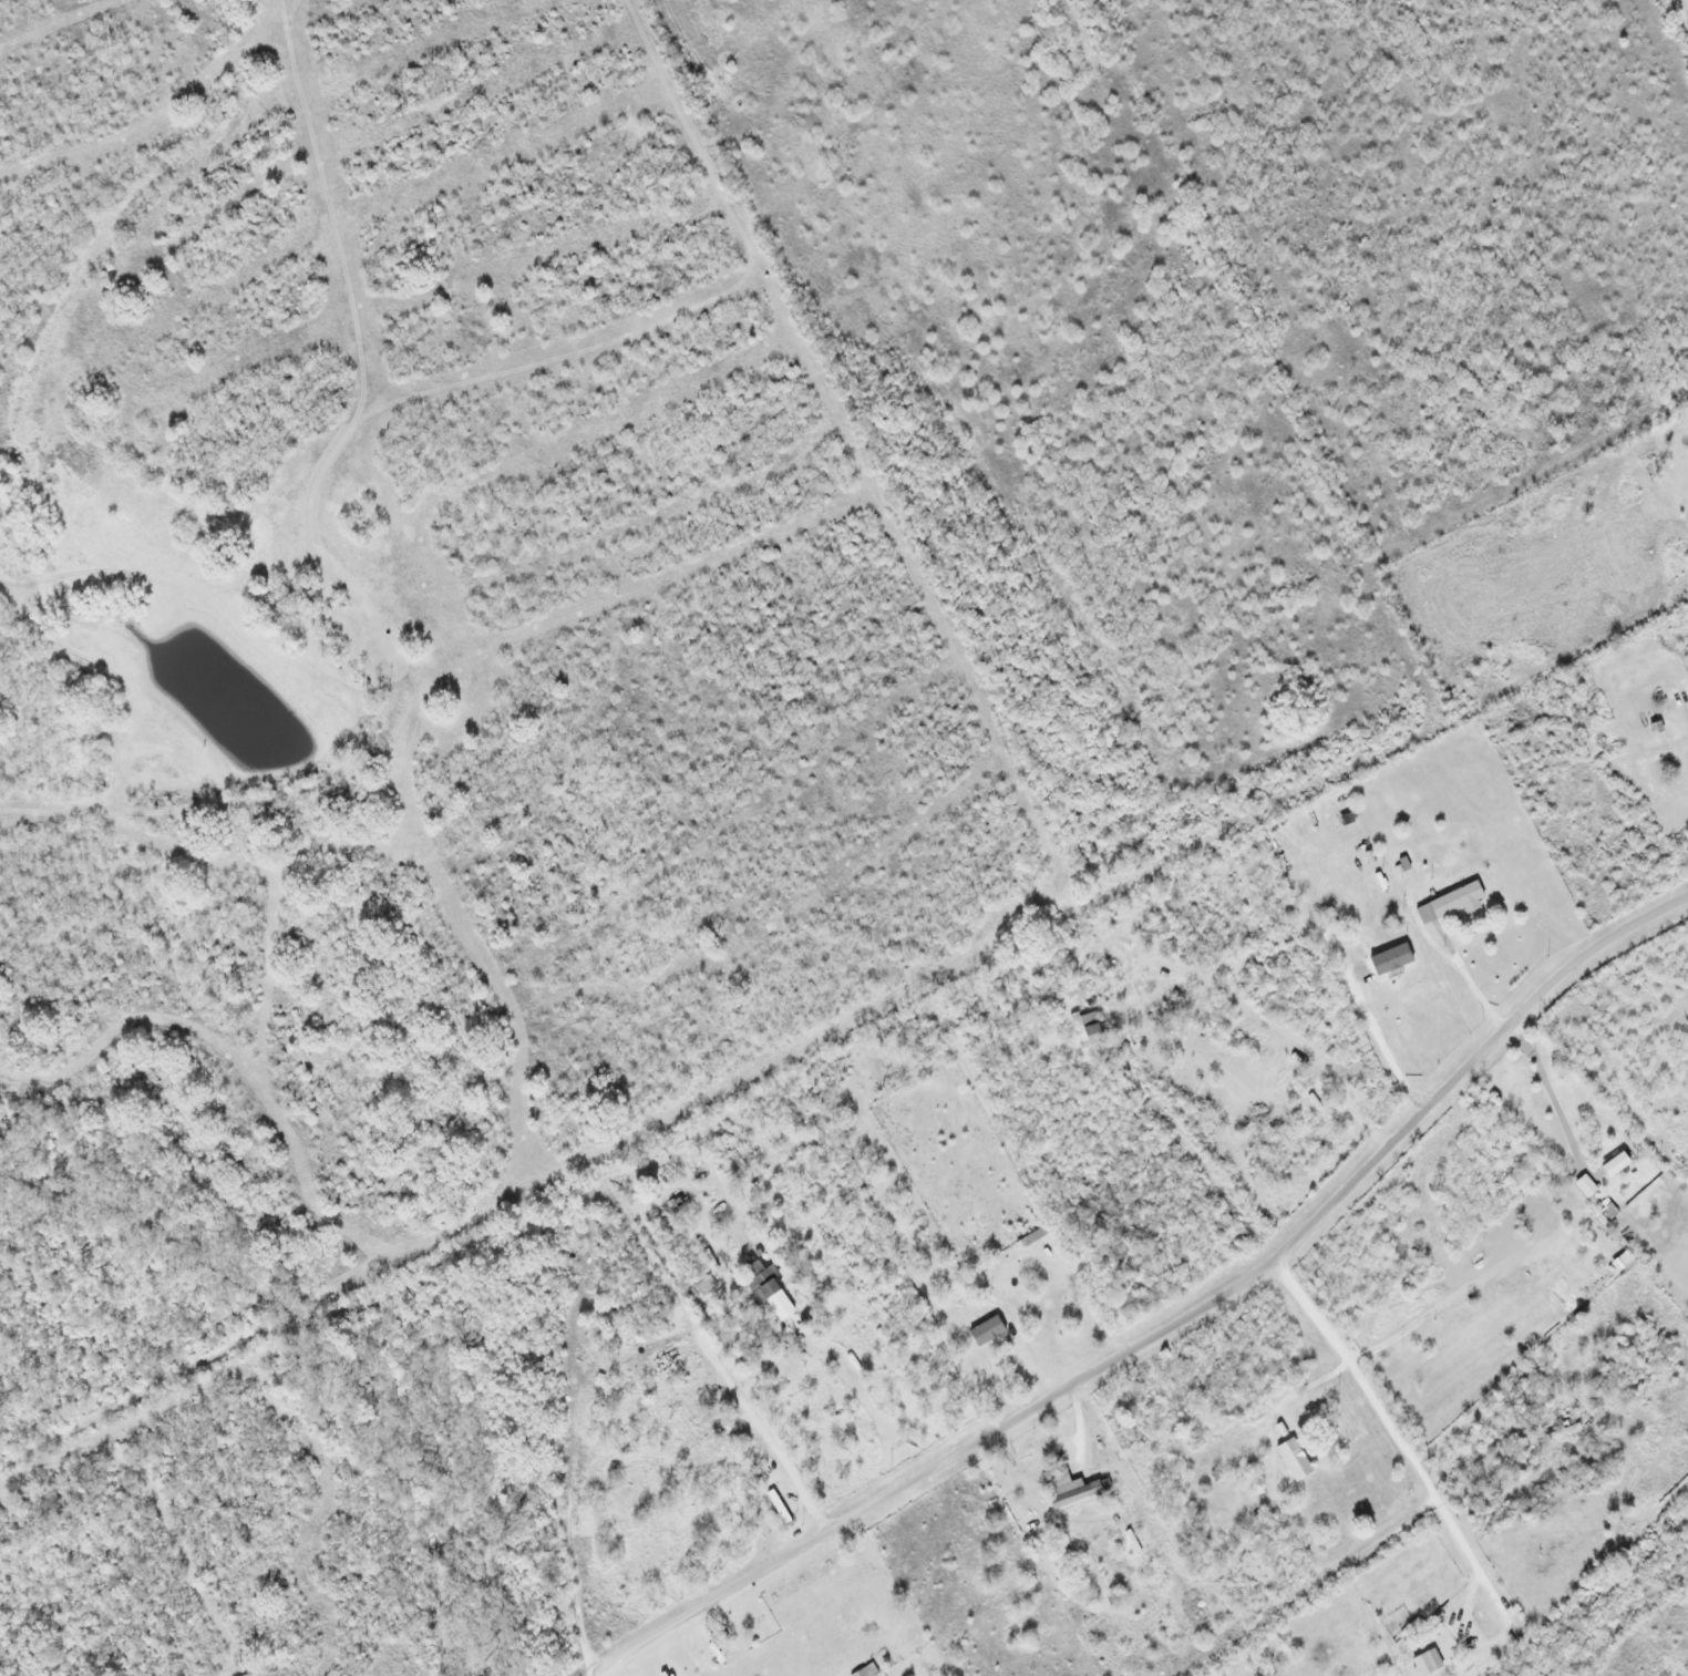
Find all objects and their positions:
road: (1680, 14)
building: (1452, 902)
building: (1088, 1029)
building: (1586, 1185)
building: (1035, 1236)
building: (763, 1279)
building: (1043, 1304)
road: (1172, 1324)
road: (1357, 1376)
building: (702, 1430)
road: (763, 1433)
building: (1295, 1459)
road: (565, 1470)
building: (1073, 1488)
road: (184, 1555)
building: (1424, 1664)

